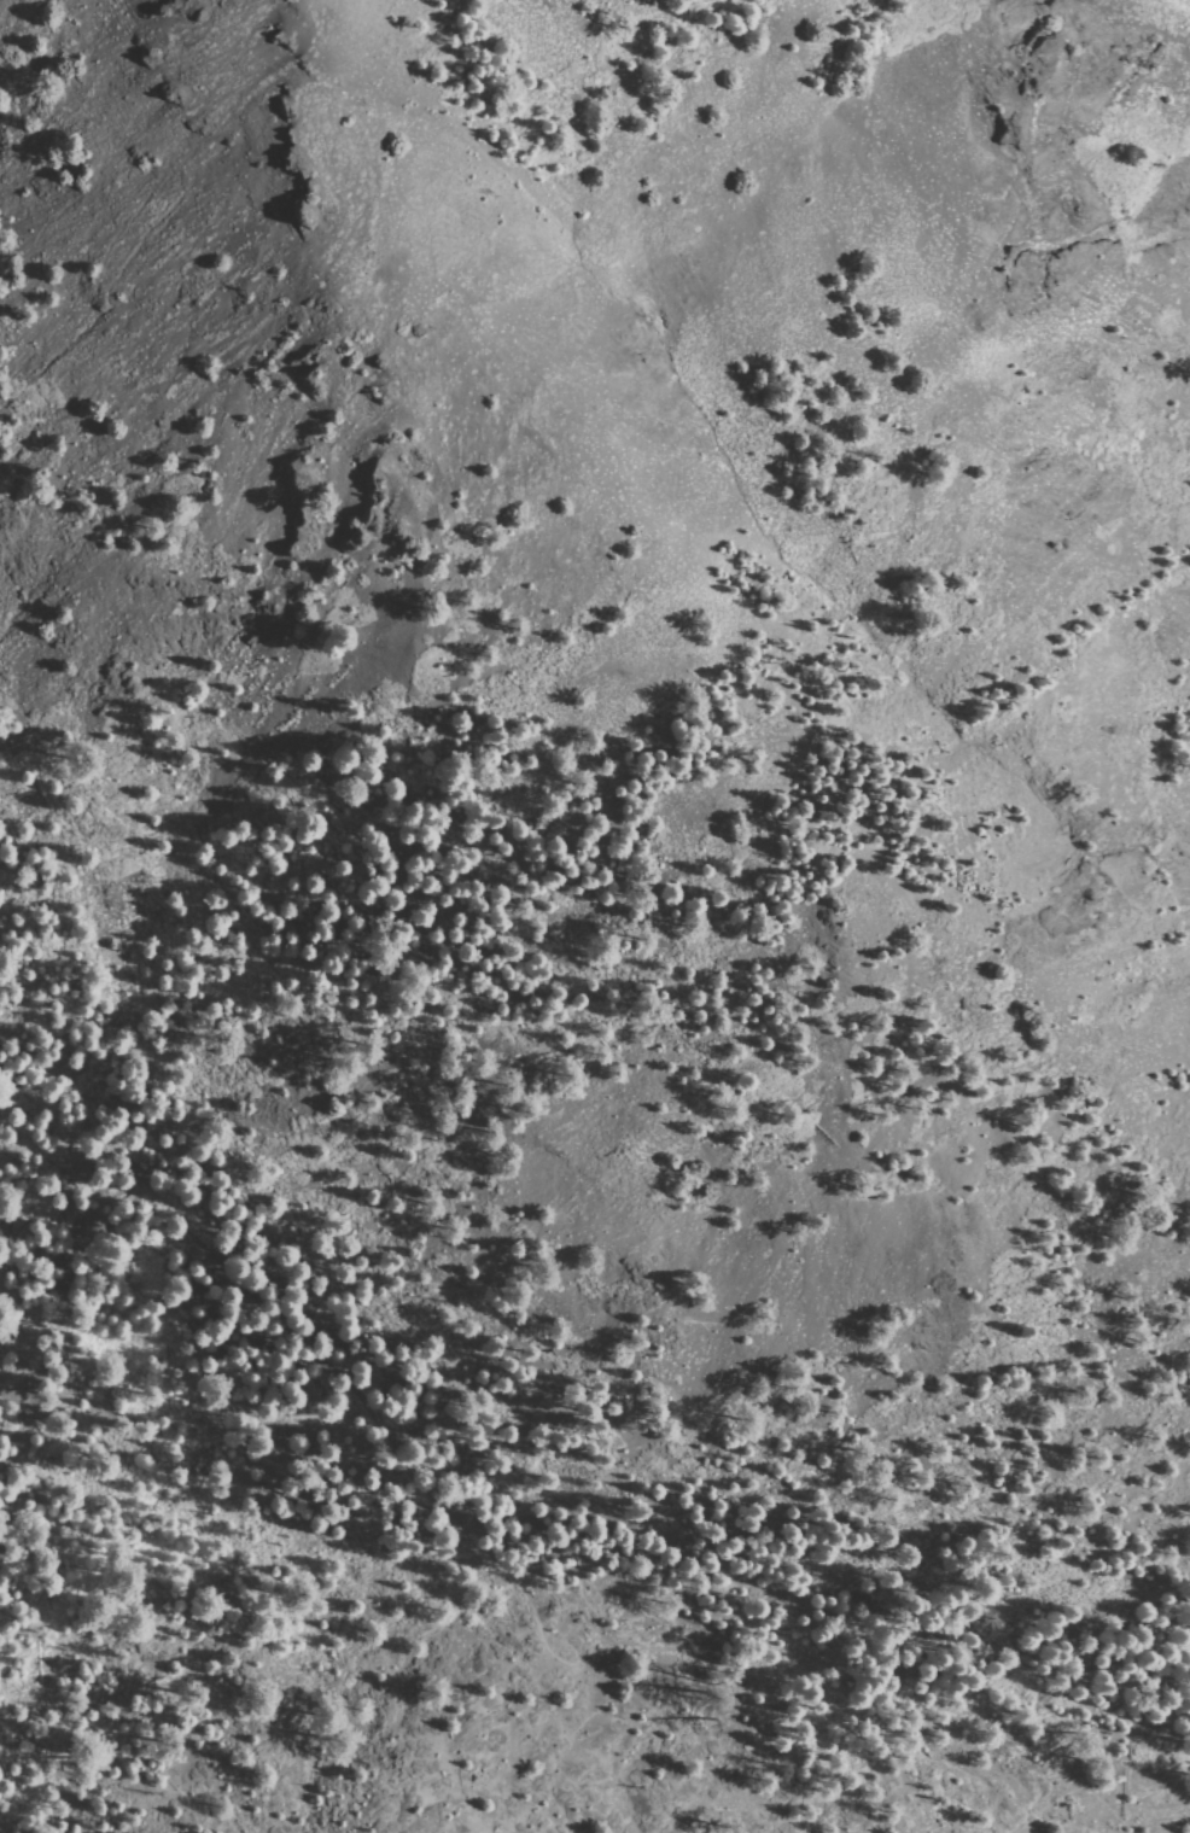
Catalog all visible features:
road: (526, 1595)

